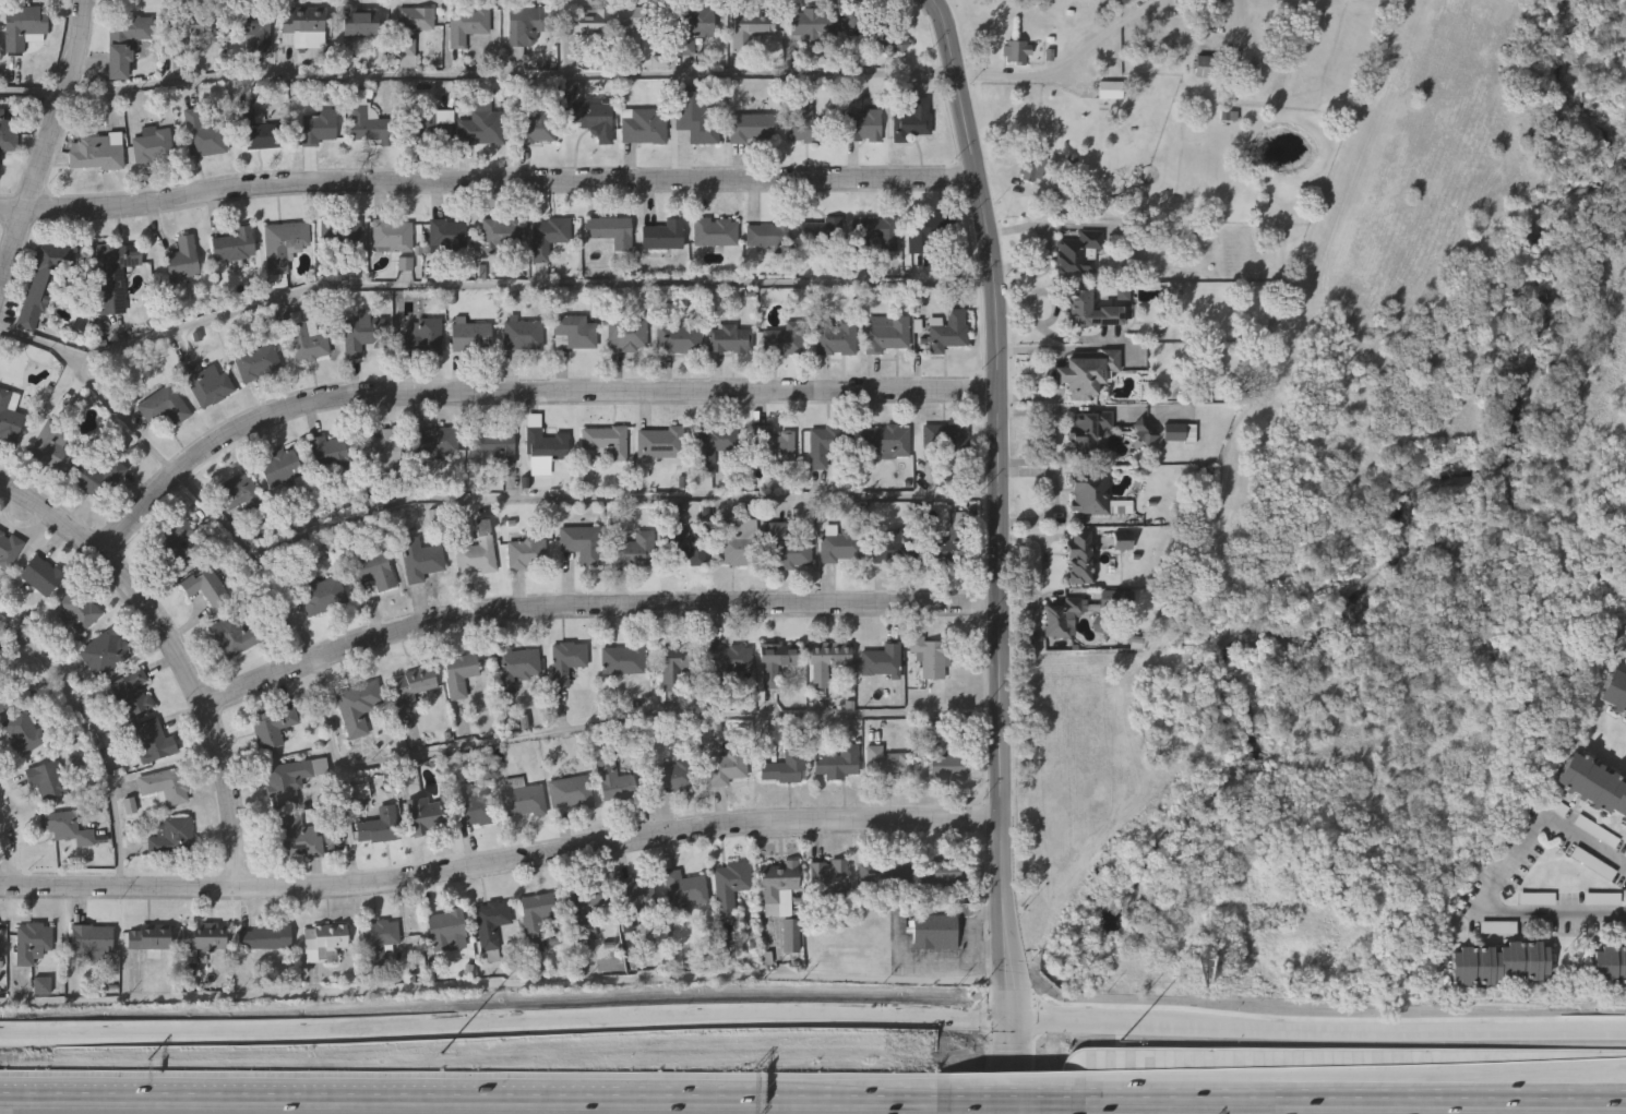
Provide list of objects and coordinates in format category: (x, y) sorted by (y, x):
building: (587, 22)
building: (360, 23)
building: (638, 24)
building: (814, 24)
building: (467, 25)
building: (527, 25)
building: (23, 26)
building: (300, 26)
building: (413, 27)
building: (693, 27)
building: (872, 27)
building: (189, 29)
building: (253, 31)
building: (750, 32)
building: (124, 41)
building: (1017, 52)
road: (1067, 67)
building: (1207, 68)
road: (478, 77)
building: (1110, 89)
road: (59, 103)
building: (695, 116)
building: (594, 119)
building: (802, 122)
building: (910, 122)
building: (370, 125)
building: (644, 125)
building: (319, 127)
building: (481, 127)
building: (863, 127)
building: (428, 128)
building: (535, 128)
building: (752, 129)
building: (256, 133)
building: (8, 134)
building: (204, 135)
building: (153, 146)
building: (95, 153)
building: (1033, 167)
road: (488, 178)
building: (610, 231)
building: (716, 231)
building: (876, 231)
building: (928, 232)
building: (822, 233)
building: (340, 236)
building: (391, 236)
building: (663, 236)
building: (767, 236)
building: (447, 237)
building: (502, 237)
building: (548, 237)
building: (284, 244)
building: (235, 245)
road: (17, 247)
building: (1080, 253)
building: (182, 260)
building: (113, 274)
building: (40, 285)
road: (529, 288)
building: (1092, 310)
building: (576, 331)
building: (363, 332)
building: (888, 333)
building: (627, 334)
building: (524, 335)
building: (947, 335)
building: (471, 336)
building: (308, 338)
building: (419, 338)
building: (679, 338)
building: (730, 338)
building: (785, 338)
building: (836, 338)
building: (258, 363)
building: (1086, 371)
building: (207, 383)
road: (97, 387)
road: (521, 392)
building: (164, 406)
building: (9, 415)
building: (1088, 431)
building: (947, 438)
building: (885, 440)
building: (606, 441)
building: (660, 442)
building: (826, 443)
building: (437, 445)
building: (491, 446)
building: (710, 446)
building: (779, 446)
building: (51, 447)
building: (382, 451)
building: (545, 452)
building: (328, 453)
building: (280, 467)
building: (100, 479)
building: (241, 493)
road: (1052, 498)
building: (1090, 498)
road: (624, 502)
road: (1001, 506)
building: (738, 542)
building: (582, 543)
building: (686, 543)
building: (180, 544)
building: (841, 544)
building: (786, 548)
building: (895, 548)
building: (9, 549)
building: (947, 549)
building: (634, 550)
building: (477, 552)
building: (526, 552)
building: (1080, 556)
road: (258, 558)
road: (1045, 559)
building: (420, 560)
building: (372, 571)
building: (41, 576)
building: (206, 587)
building: (321, 592)
road: (594, 604)
building: (77, 610)
building: (1061, 616)
road: (1036, 624)
building: (236, 636)
building: (104, 652)
road: (174, 655)
building: (931, 657)
building: (622, 660)
building: (728, 661)
building: (826, 661)
building: (882, 661)
building: (565, 662)
building: (777, 662)
building: (515, 668)
building: (674, 672)
building: (459, 674)
building: (411, 692)
building: (1614, 692)
building: (131, 693)
building: (4, 699)
building: (358, 707)
road: (614, 726)
building: (273, 727)
building: (23, 733)
road: (92, 738)
building: (154, 741)
building: (942, 756)
building: (838, 763)
building: (728, 764)
building: (886, 764)
building: (785, 768)
building: (675, 777)
building: (48, 780)
building: (613, 780)
building: (290, 781)
building: (1594, 784)
building: (166, 786)
building: (570, 792)
building: (526, 802)
building: (475, 805)
building: (423, 815)
building: (373, 816)
road: (347, 824)
building: (65, 827)
building: (172, 837)
building: (295, 838)
road: (7, 848)
road: (501, 860)
building: (884, 871)
building: (946, 871)
building: (829, 875)
building: (778, 887)
building: (685, 888)
road: (1487, 888)
building: (730, 889)
building: (637, 895)
building: (586, 900)
building: (536, 914)
building: (491, 923)
building: (445, 929)
building: (935, 932)
building: (790, 936)
building: (325, 937)
building: (148, 938)
building: (264, 938)
building: (379, 938)
building: (204, 939)
building: (33, 943)
building: (92, 943)
building: (1501, 965)
building: (1610, 966)
road: (505, 989)
traffic signals: (1013, 1022)
road: (505, 1025)
road: (1319, 1027)
road: (1013, 1068)
road: (1349, 1085)
road: (475, 1098)
road: (1011, 1100)
road: (1348, 1102)

